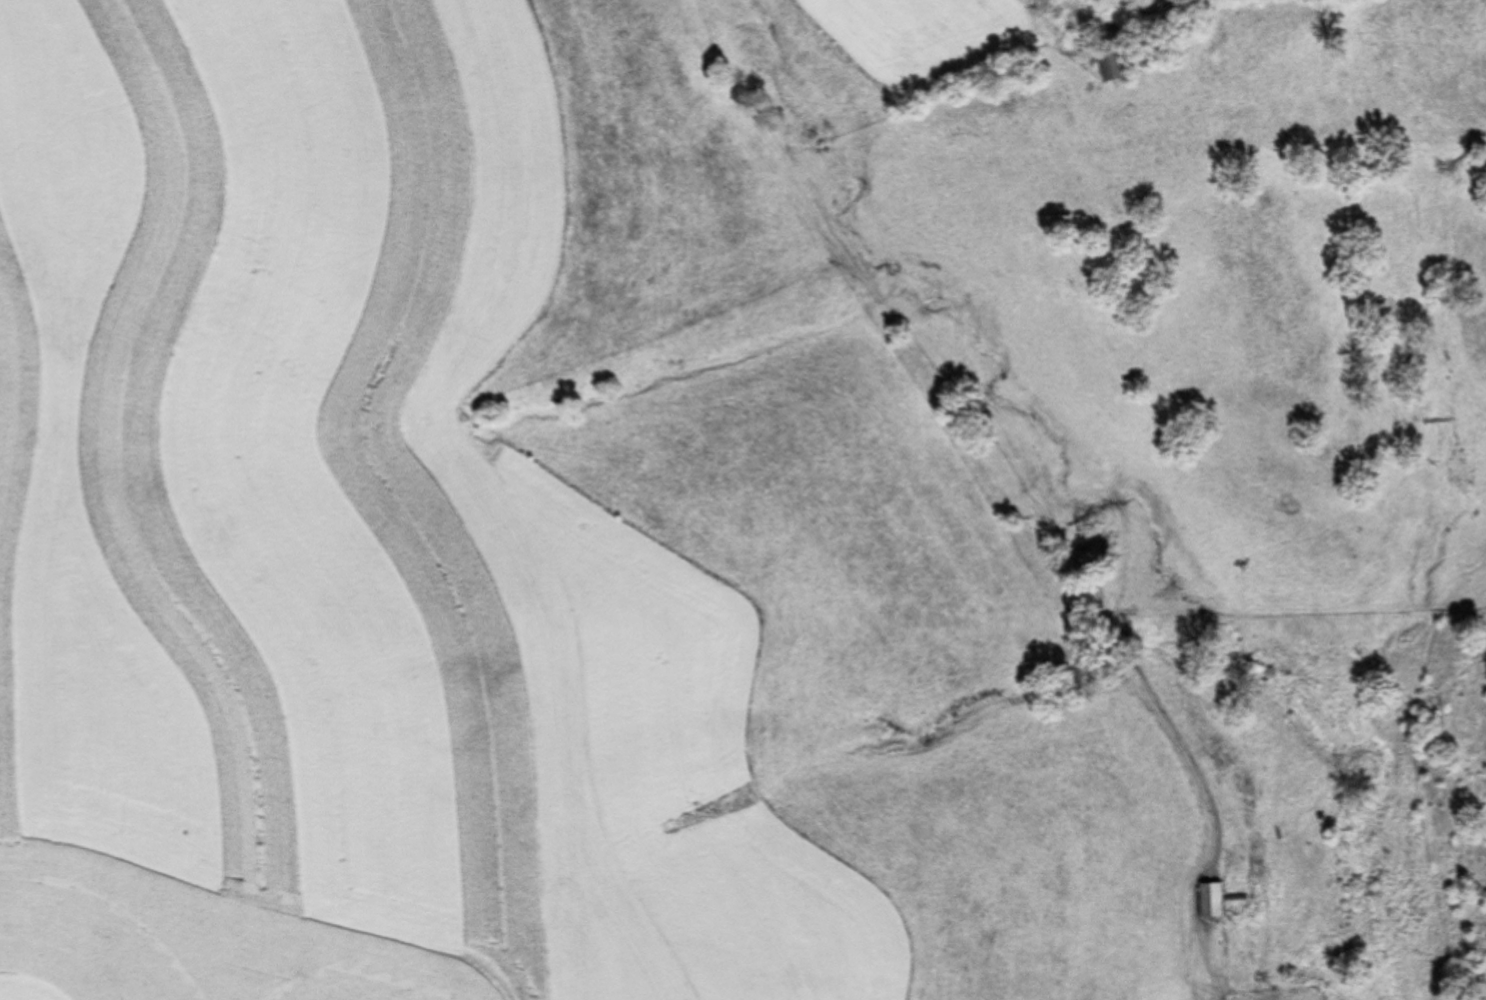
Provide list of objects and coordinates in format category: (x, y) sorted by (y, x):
road: (1161, 7)
building: (1110, 65)
building: (1208, 900)

